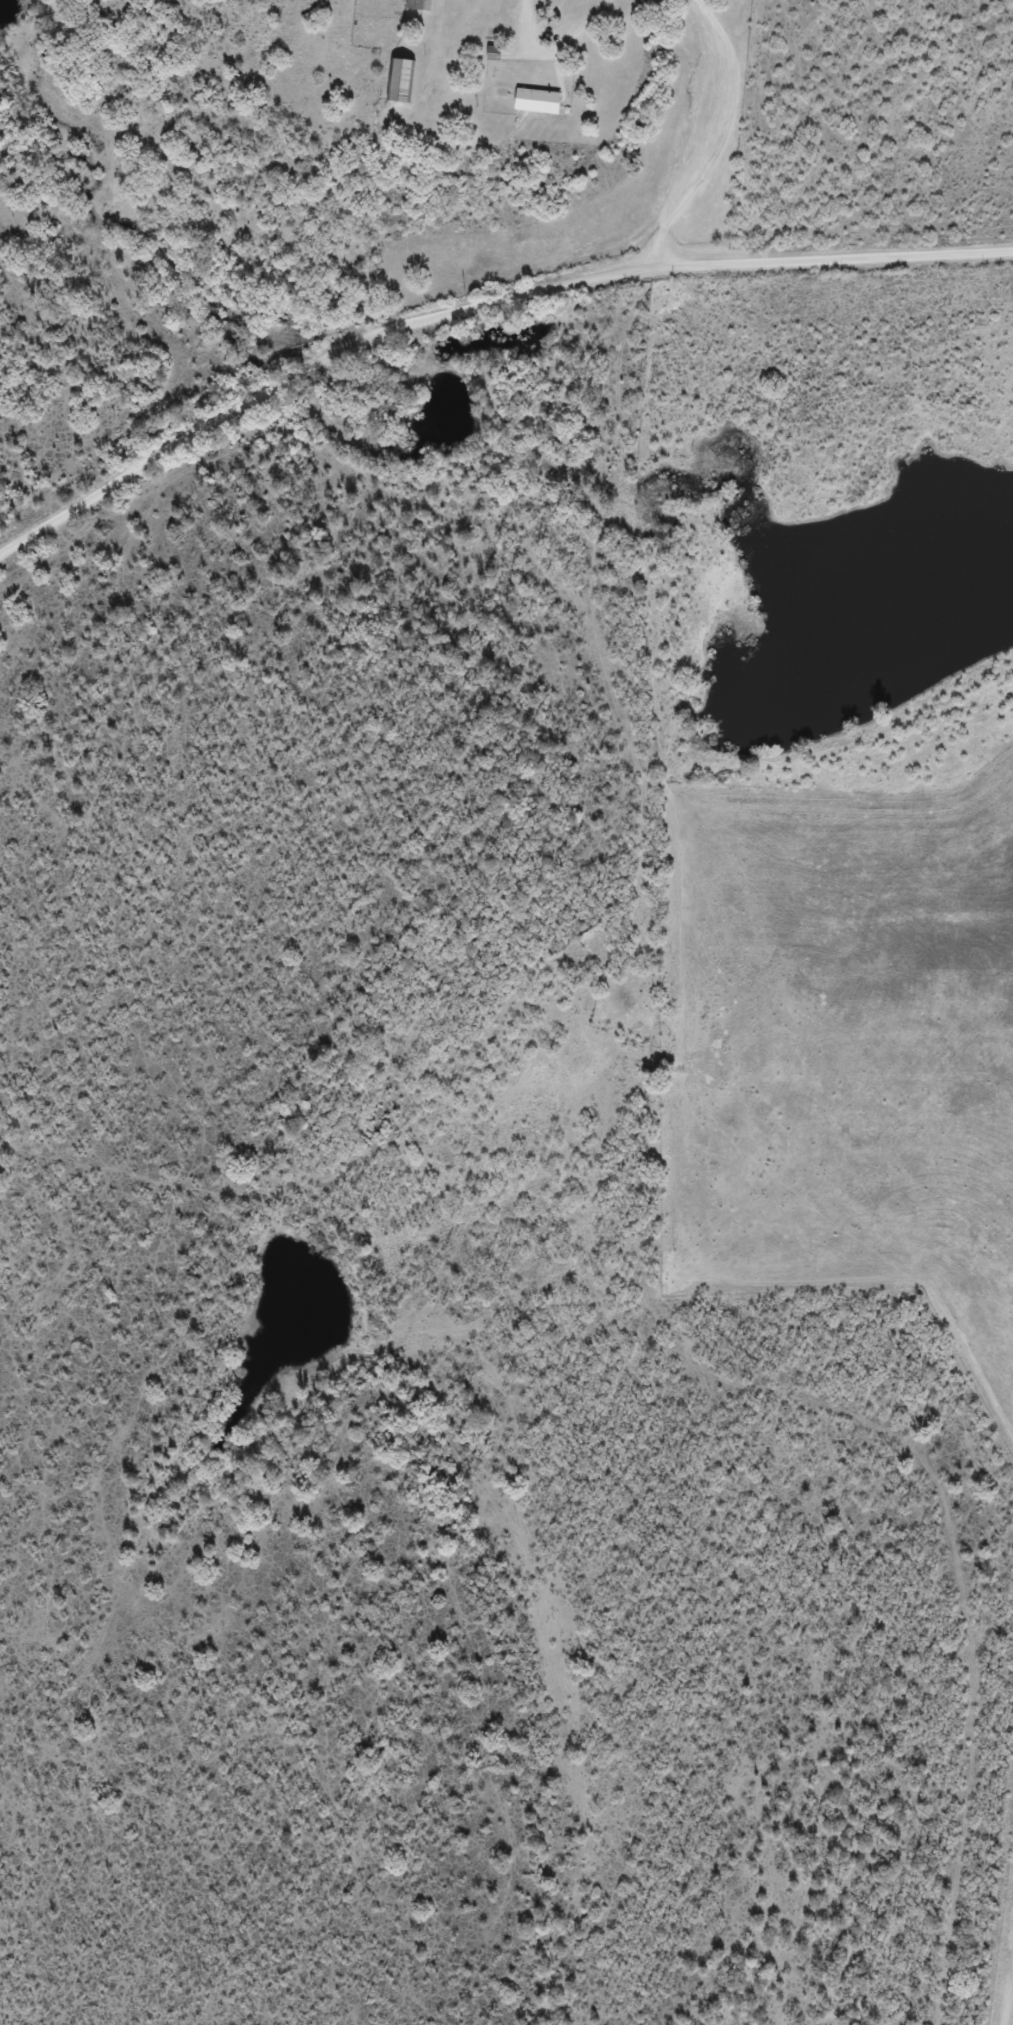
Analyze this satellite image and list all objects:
building: (419, 4)
building: (493, 52)
building: (398, 78)
road: (716, 83)
building: (536, 101)
road: (479, 320)
road: (629, 441)
road: (631, 885)
road: (549, 1340)
road: (937, 1526)

